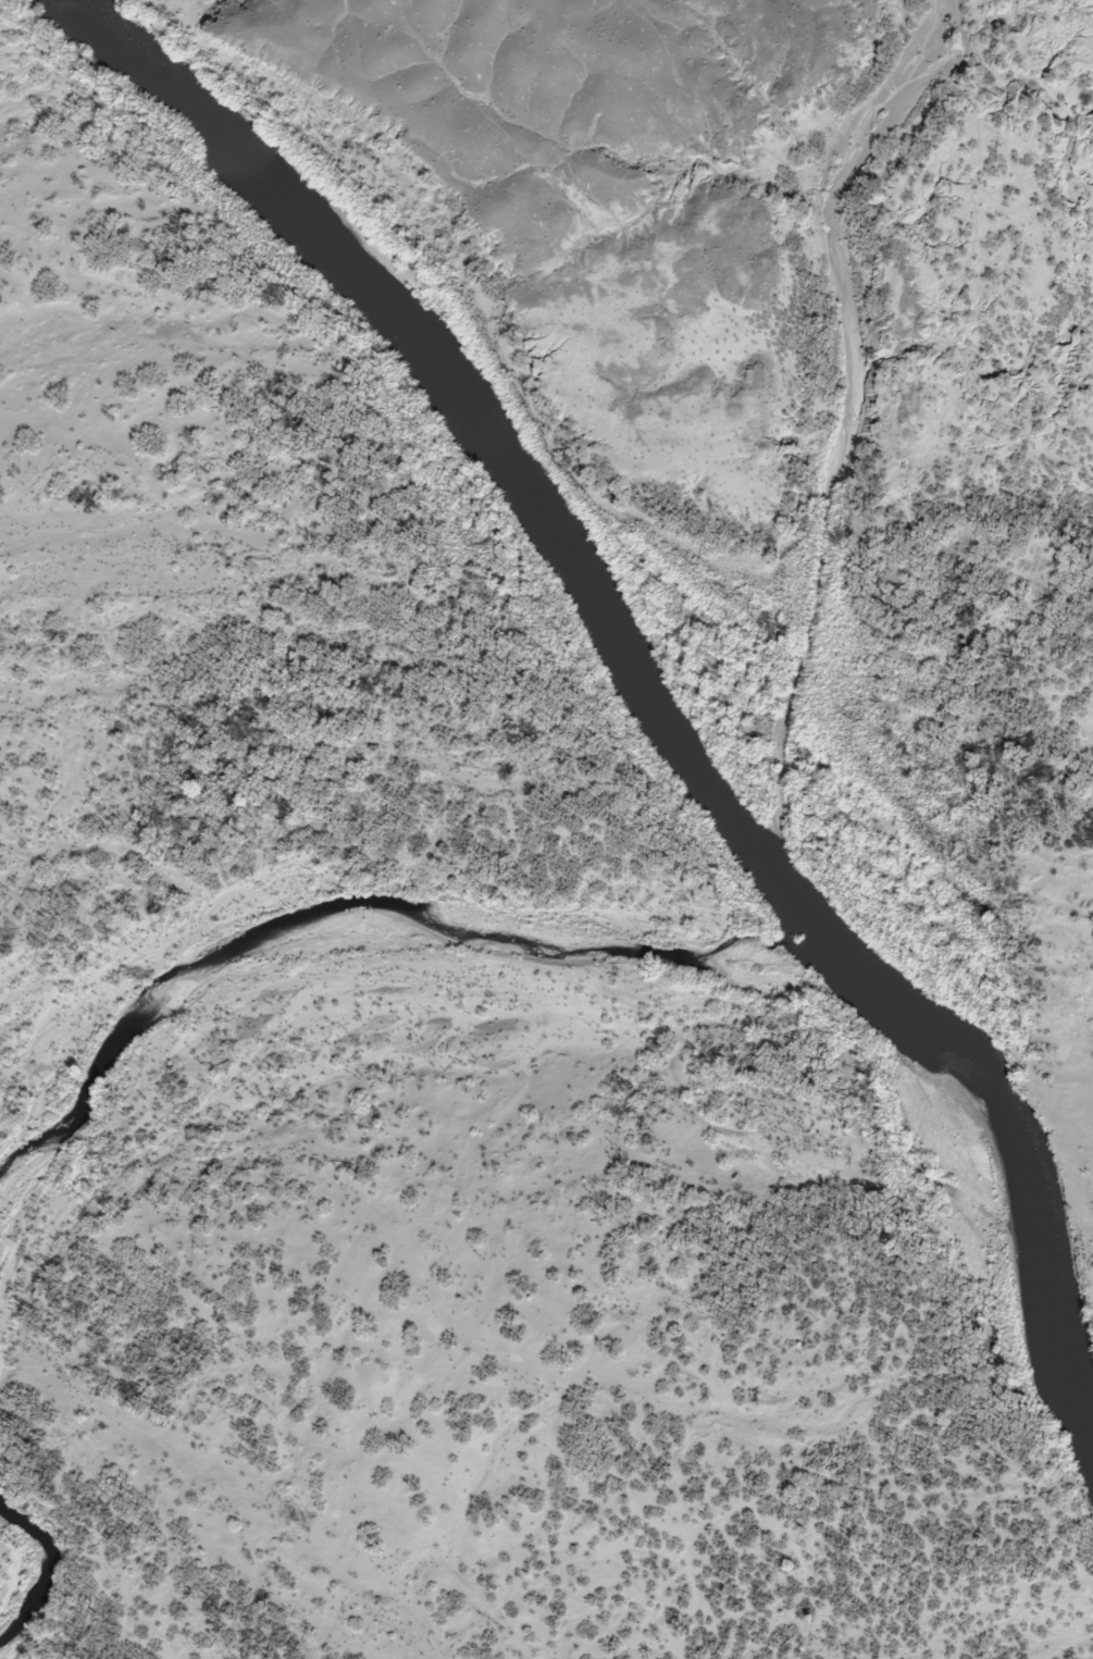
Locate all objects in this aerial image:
river: (642, 671)

